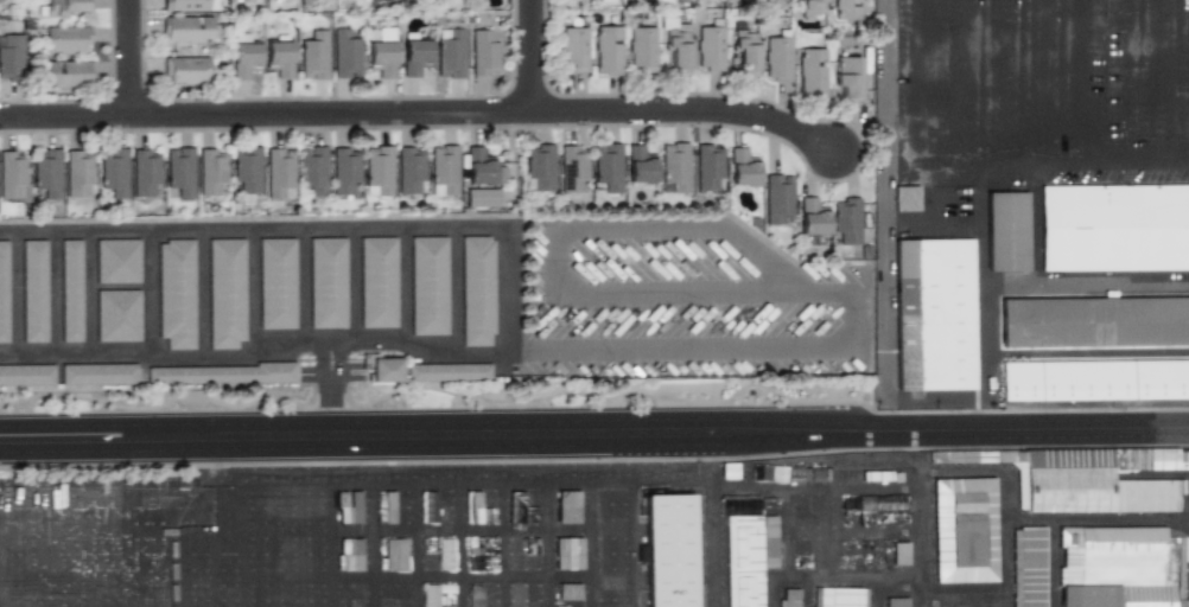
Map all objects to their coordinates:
building: (191, 5)
building: (812, 7)
building: (68, 8)
building: (846, 9)
building: (186, 28)
building: (66, 39)
building: (708, 46)
building: (573, 49)
building: (641, 49)
building: (606, 51)
building: (675, 51)
building: (382, 52)
building: (414, 52)
building: (484, 52)
building: (744, 53)
building: (344, 55)
building: (450, 55)
building: (11, 56)
building: (242, 56)
building: (279, 56)
building: (313, 56)
road: (532, 56)
building: (777, 57)
road: (129, 58)
building: (185, 70)
building: (812, 72)
building: (66, 74)
building: (847, 77)
road: (915, 83)
road: (943, 83)
road: (978, 83)
road: (1020, 83)
road: (1061, 83)
road: (1099, 83)
road: (1139, 83)
road: (1180, 83)
road: (688, 110)
road: (265, 114)
building: (608, 165)
building: (638, 165)
building: (482, 166)
road: (1053, 166)
building: (409, 167)
building: (538, 167)
building: (674, 167)
building: (708, 167)
building: (312, 168)
building: (742, 168)
building: (179, 170)
building: (246, 170)
building: (377, 170)
building: (443, 170)
building: (572, 170)
building: (212, 171)
building: (345, 171)
building: (78, 172)
building: (113, 172)
building: (47, 173)
building: (145, 173)
building: (12, 174)
building: (280, 174)
building: (481, 197)
building: (777, 197)
building: (909, 198)
building: (813, 216)
road: (884, 216)
building: (787, 218)
building: (847, 219)
road: (1034, 228)
building: (1117, 228)
building: (1009, 231)
building: (117, 261)
building: (326, 282)
building: (377, 282)
building: (276, 283)
building: (428, 286)
road: (351, 287)
road: (252, 288)
road: (300, 288)
road: (400, 289)
road: (1005, 289)
building: (34, 290)
building: (71, 290)
building: (476, 290)
building: (4, 292)
building: (176, 293)
building: (225, 293)
road: (452, 293)
road: (729, 293)
road: (148, 294)
road: (199, 294)
road: (15, 295)
road: (52, 295)
road: (89, 295)
road: (510, 298)
building: (117, 315)
building: (937, 318)
building: (1095, 321)
road: (1055, 351)
road: (342, 364)
road: (318, 366)
building: (382, 368)
building: (447, 372)
building: (97, 373)
building: (221, 373)
building: (26, 375)
building: (1096, 381)
road: (983, 391)
road: (610, 397)
street lamp: (646, 402)
street lamp: (412, 404)
street lamp: (178, 407)
road: (332, 409)
street lamp: (1113, 409)
street lamp: (878, 410)
road: (960, 432)
road: (364, 435)
road: (708, 456)
road: (235, 465)
road: (206, 469)
road: (583, 481)
road: (815, 486)
building: (1069, 490)
road: (225, 494)
building: (1147, 496)
building: (428, 506)
building: (471, 506)
building: (567, 506)
building: (515, 507)
road: (922, 518)
road: (1029, 522)
building: (968, 530)
building: (350, 533)
building: (392, 538)
road: (631, 543)
road: (418, 544)
road: (459, 544)
road: (503, 544)
road: (546, 544)
road: (590, 544)
road: (286, 545)
road: (374, 545)
road: (243, 547)
building: (670, 551)
road: (39, 554)
road: (82, 554)
road: (129, 554)
road: (172, 554)
road: (212, 554)
building: (445, 554)
building: (568, 554)
building: (899, 554)
building: (744, 561)
road: (1005, 563)
road: (1054, 564)
building: (1035, 567)
building: (1123, 567)
road: (808, 576)
road: (771, 584)
building: (567, 592)
road: (808, 592)
road: (876, 592)
building: (431, 595)
building: (789, 598)
building: (839, 598)
building: (899, 602)
road: (964, 603)
road: (967, 605)

